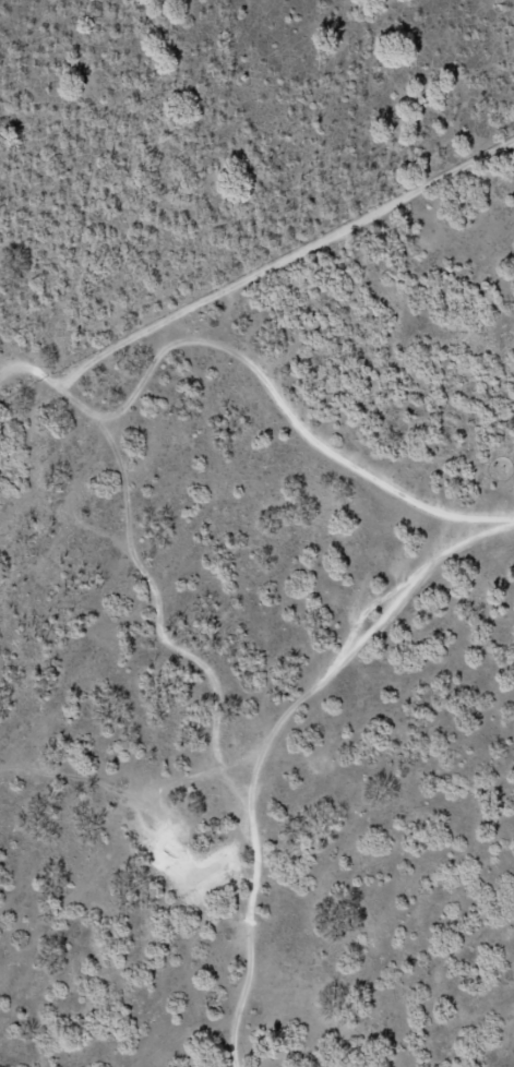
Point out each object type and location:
road: (219, 615)

